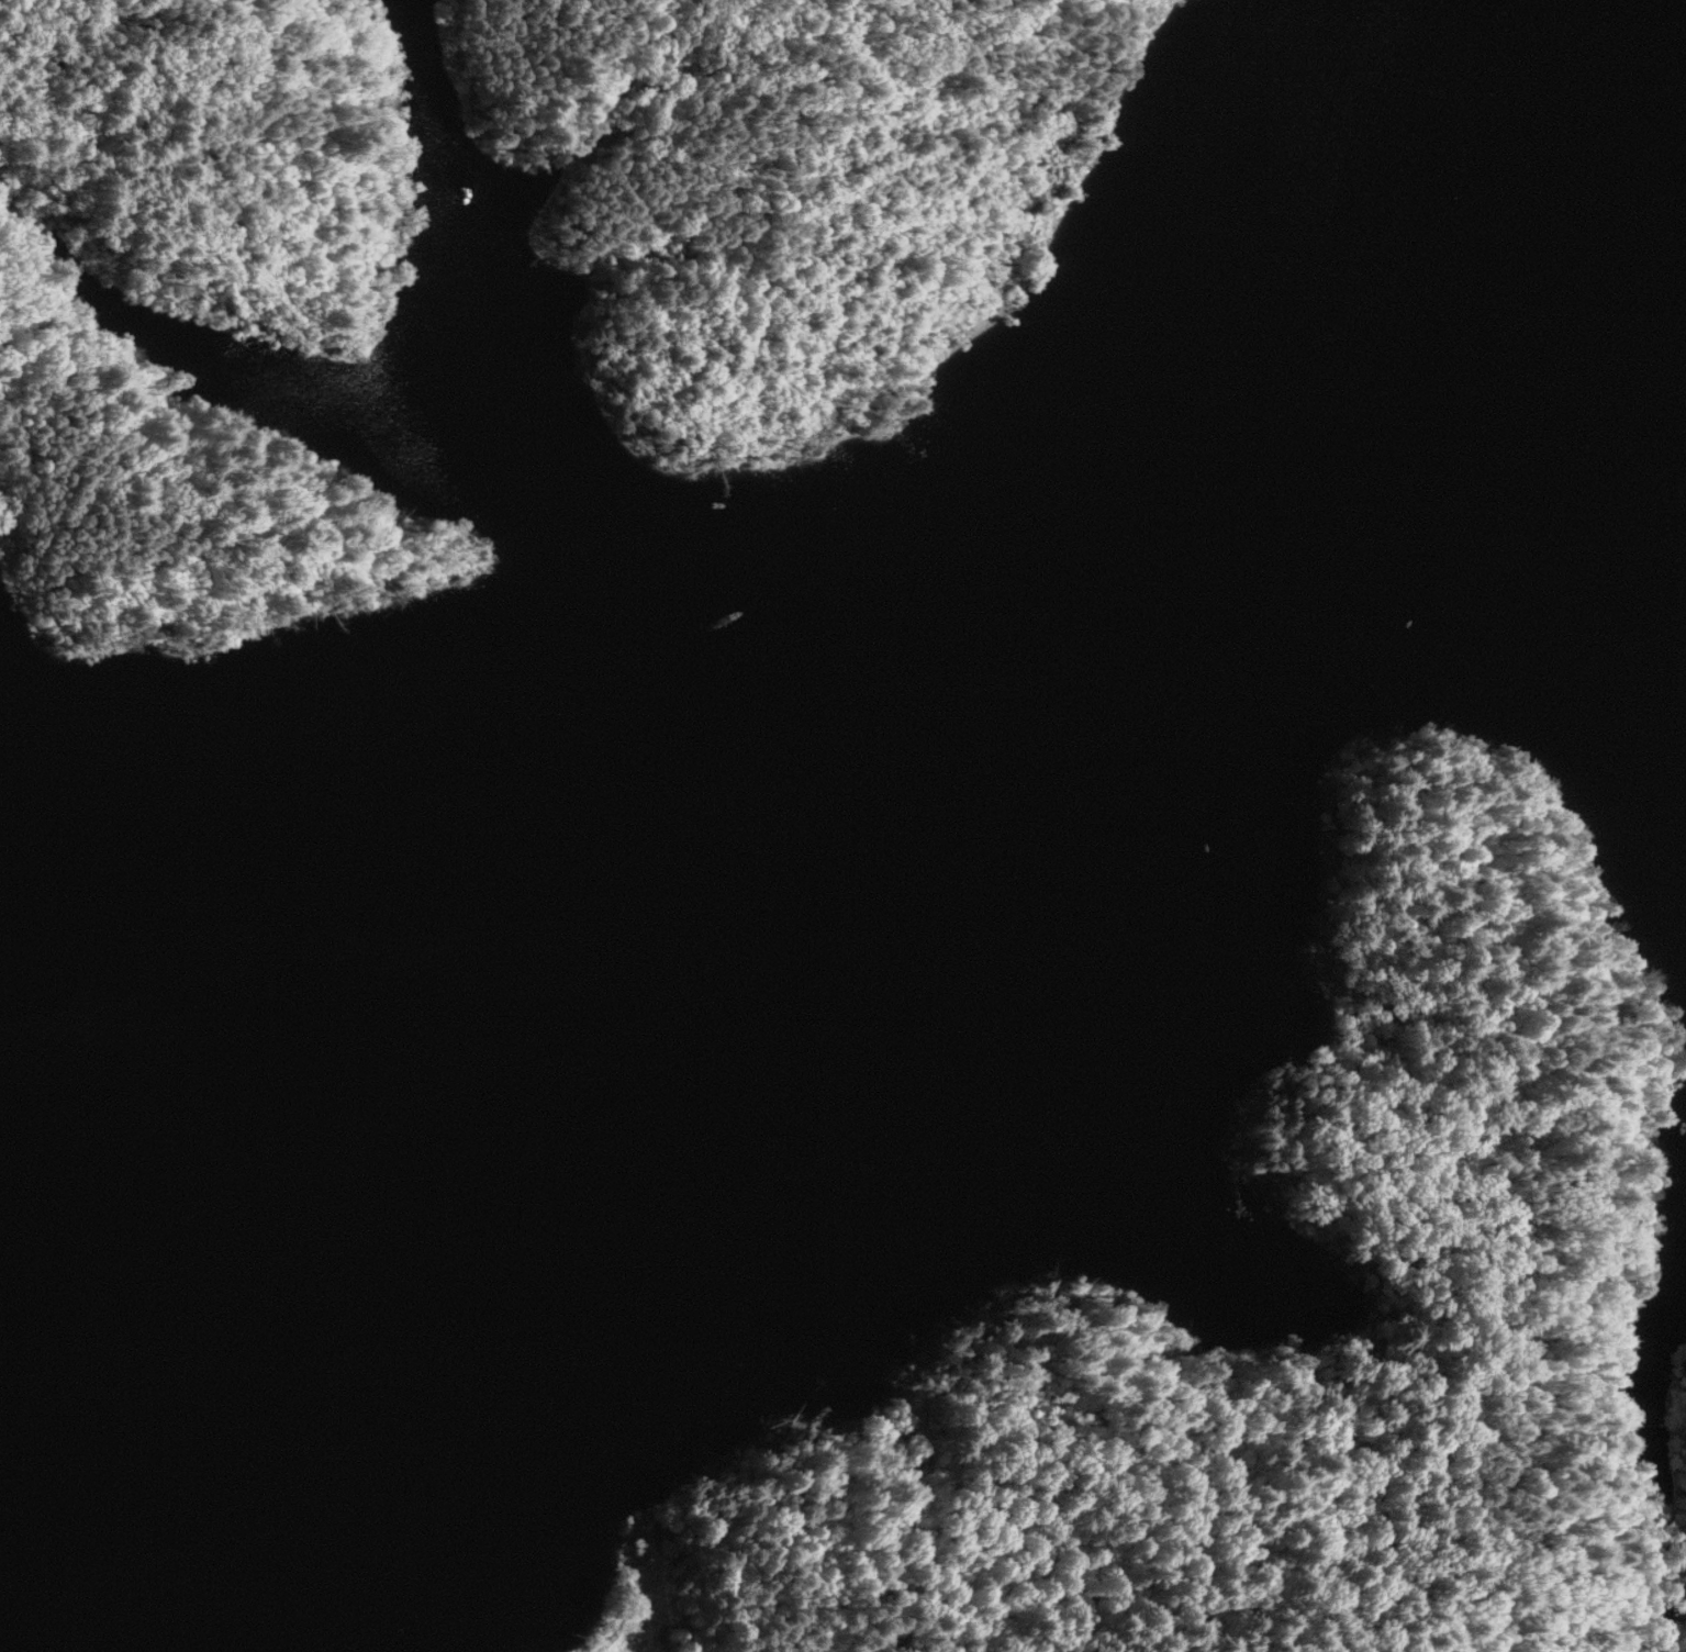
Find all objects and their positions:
river: (1578, 467)
river: (822, 973)
road: (1425, 1154)
road: (1173, 1570)
road: (643, 1617)
parking lot: (643, 1622)

